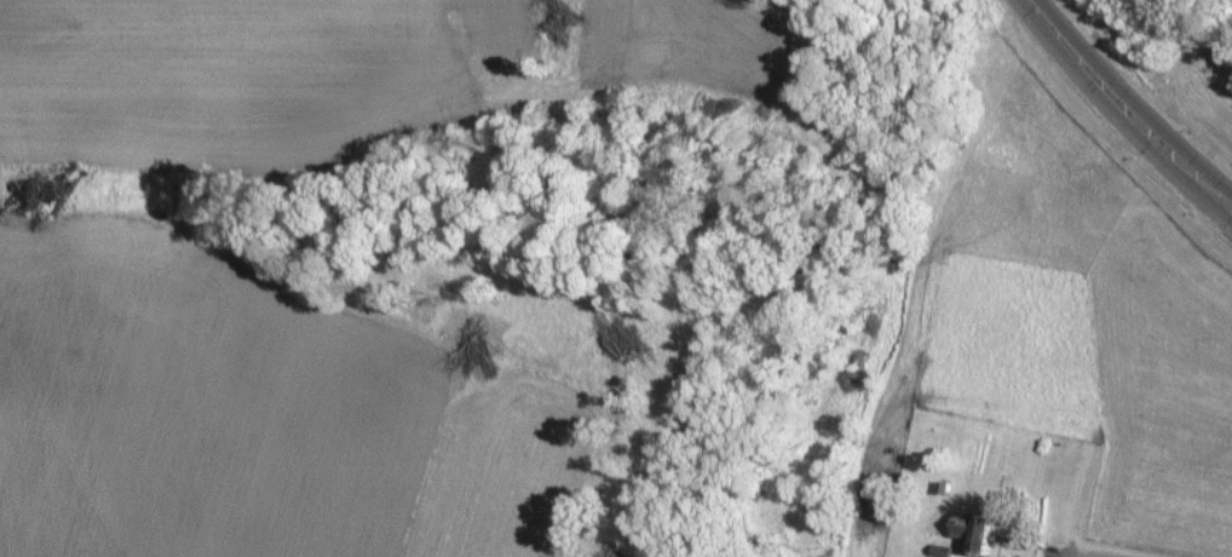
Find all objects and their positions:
road: (1127, 108)
building: (973, 532)
road: (1092, 553)

